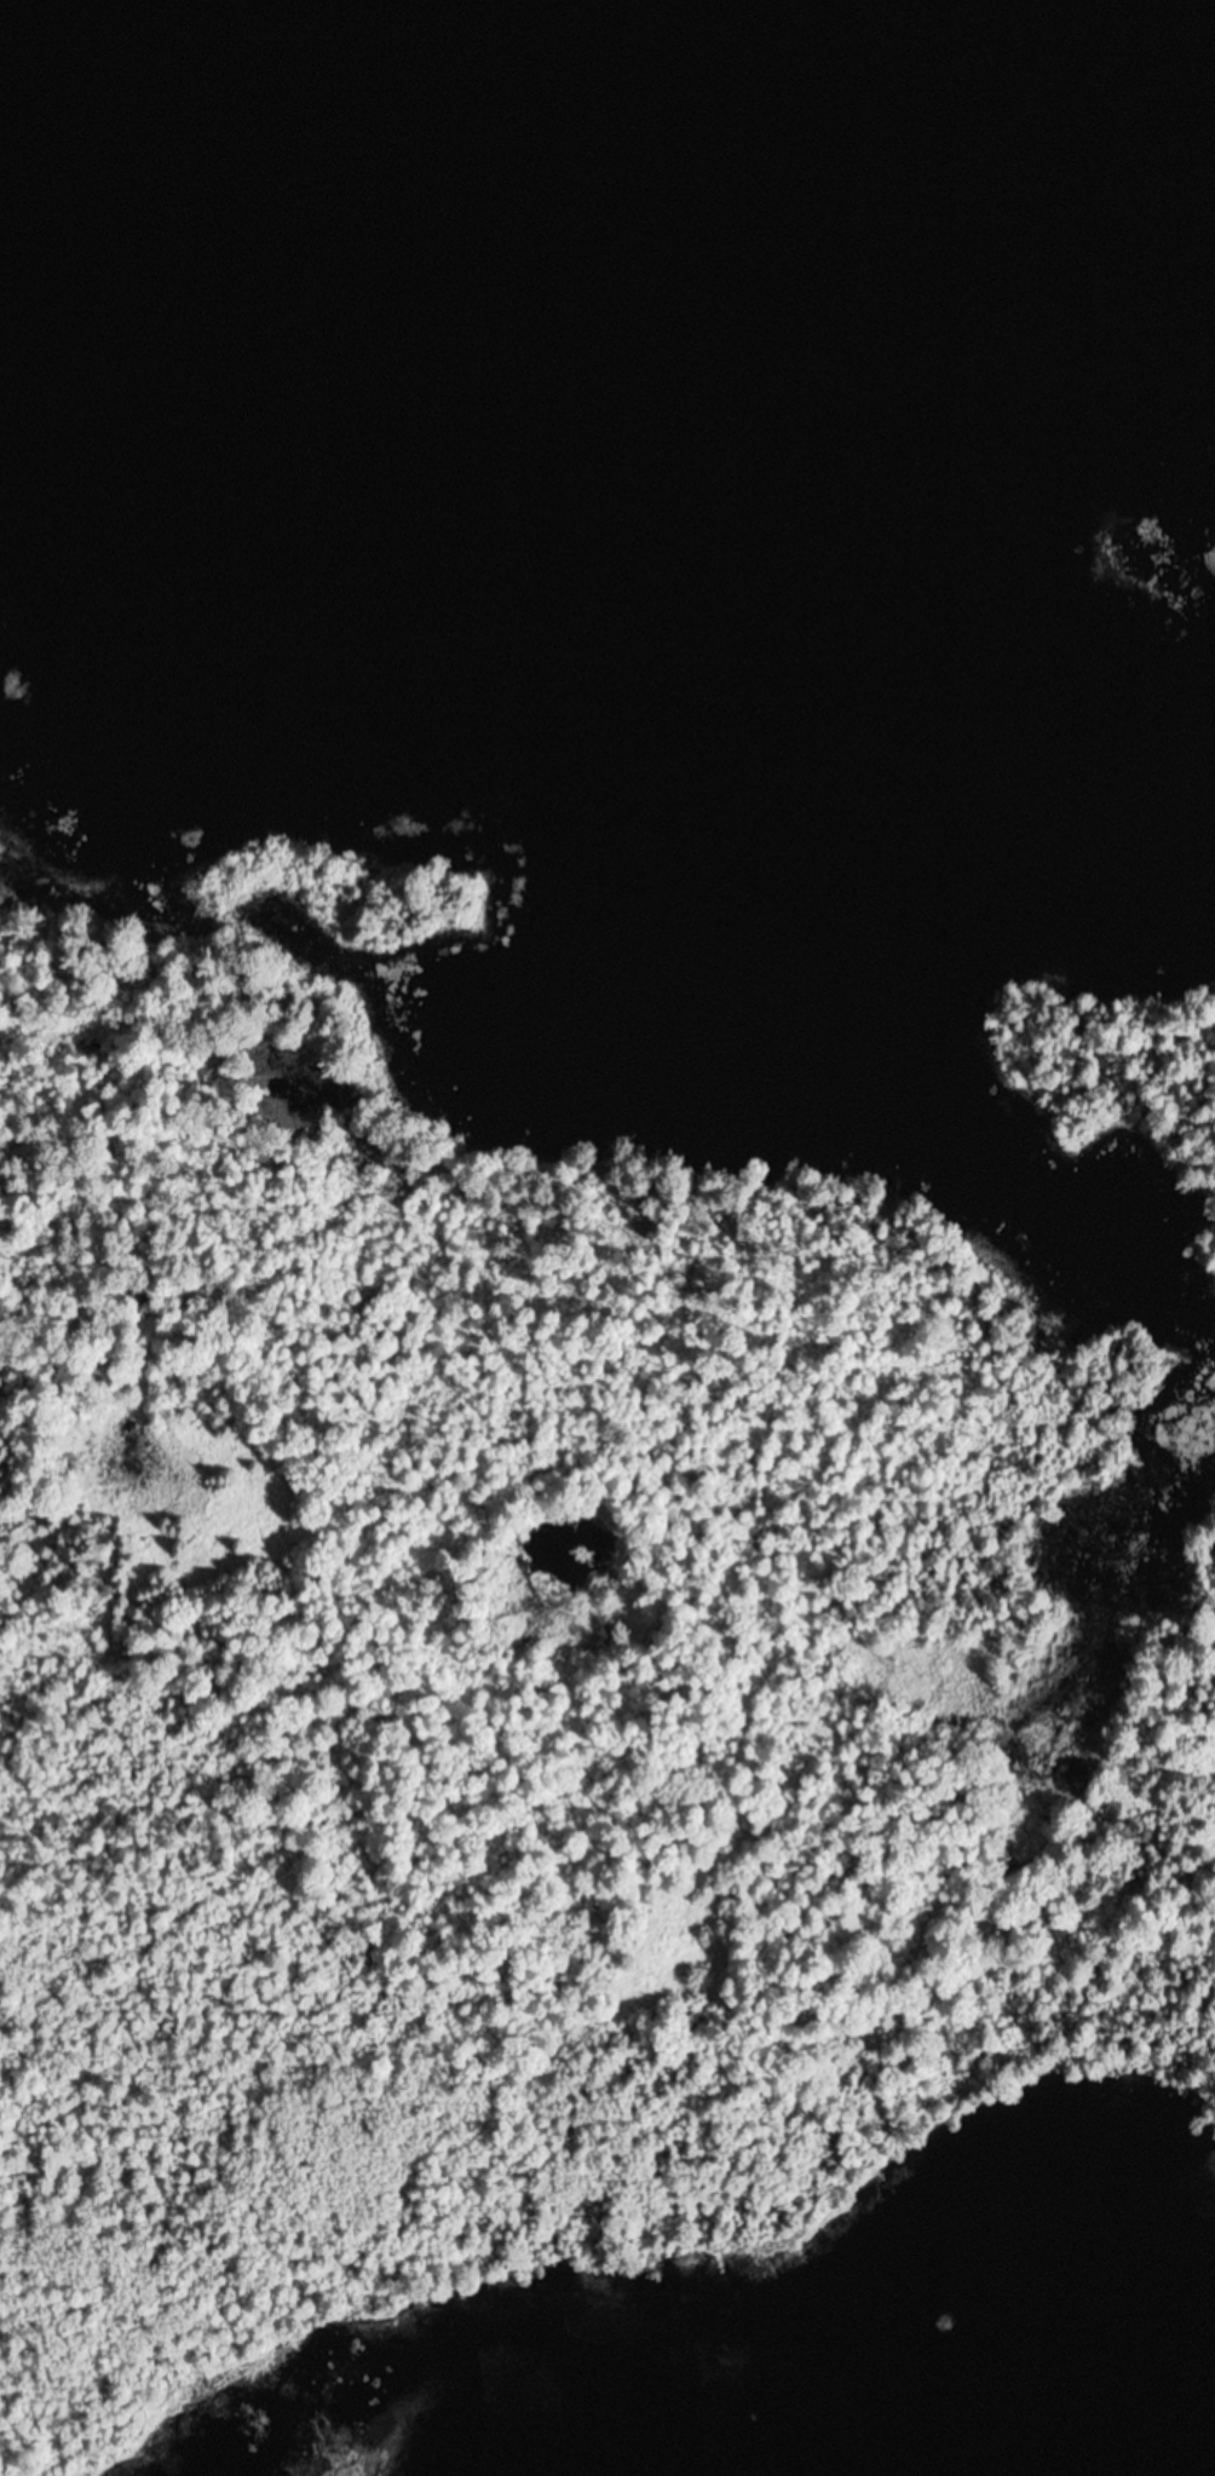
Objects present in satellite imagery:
river: (618, 365)

